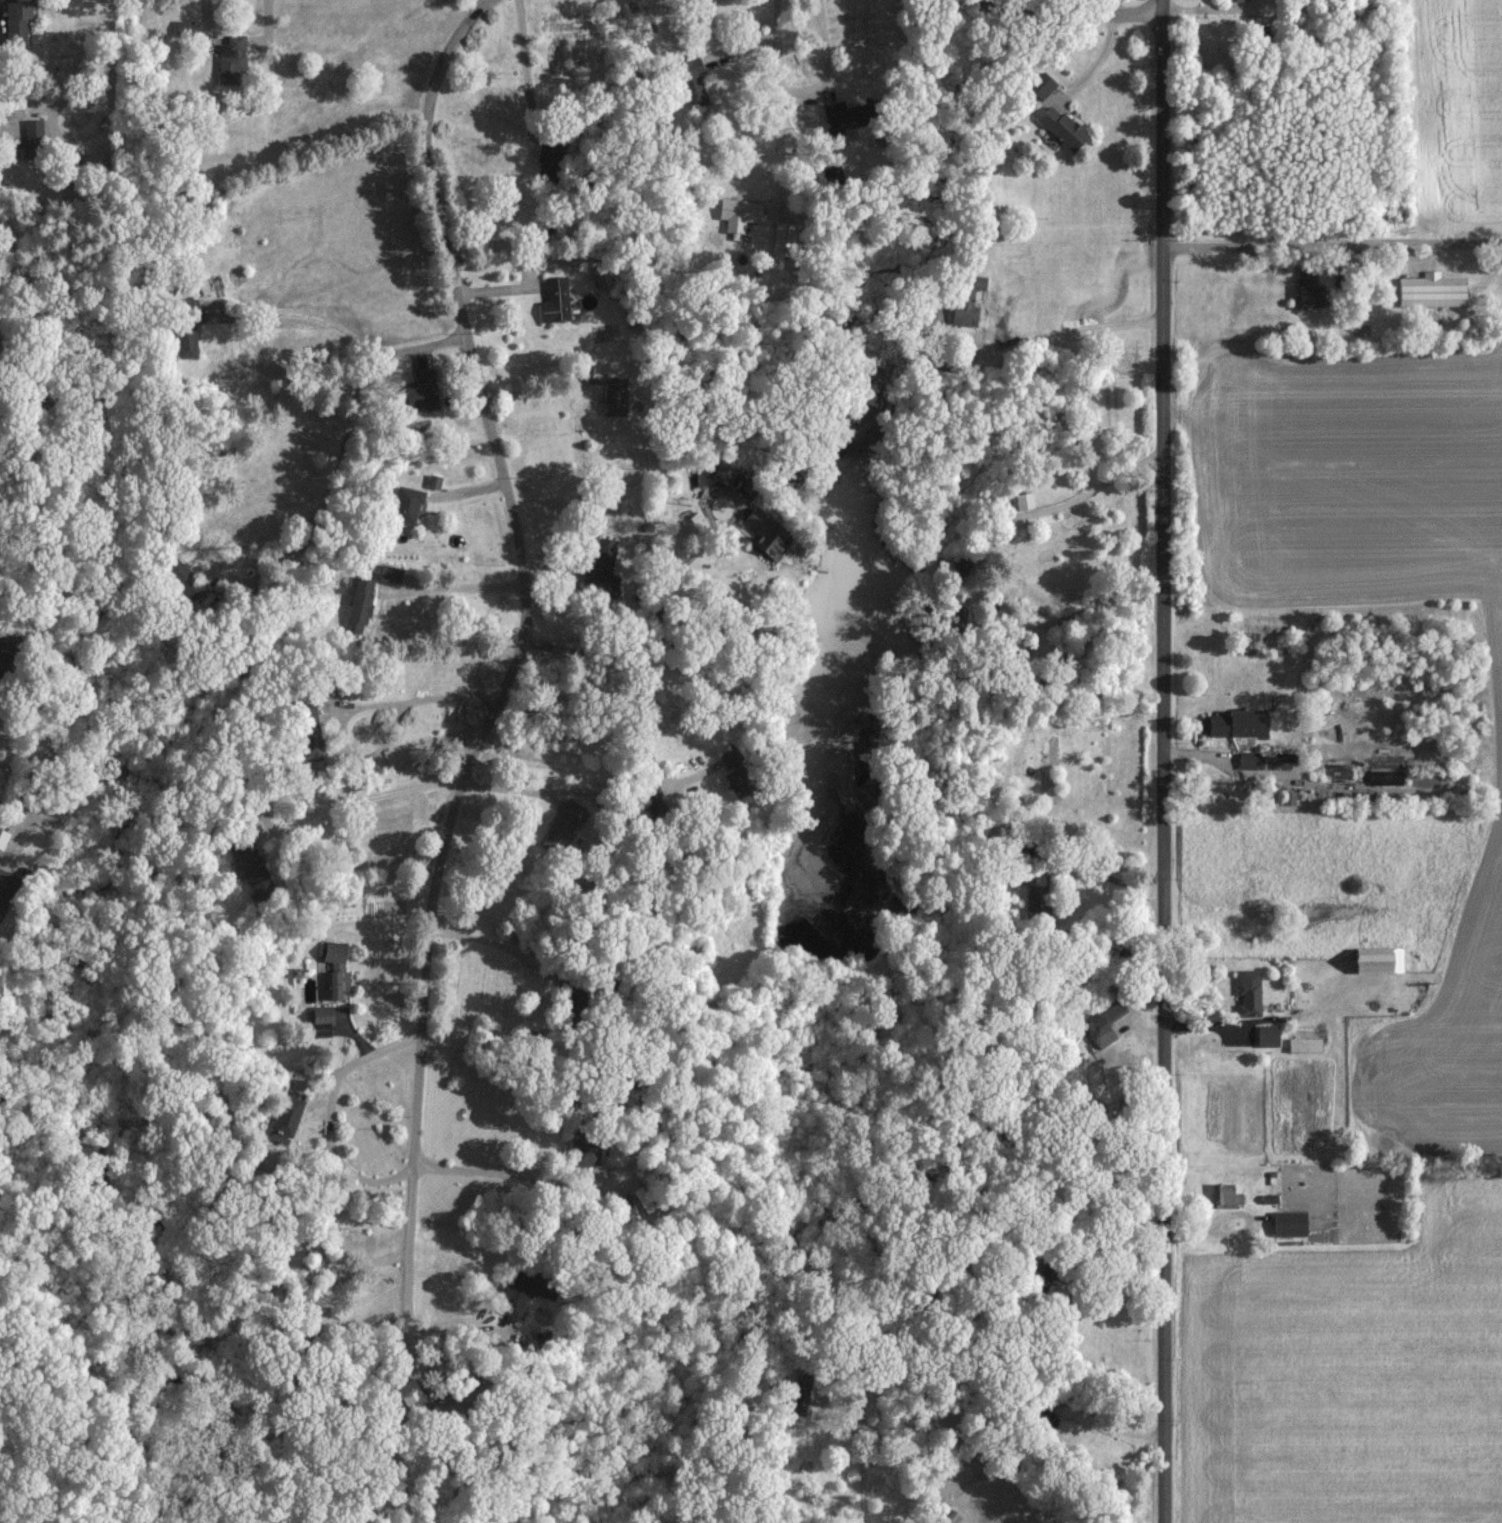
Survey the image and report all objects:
road: (1066, 14)
building: (14, 19)
building: (182, 27)
building: (230, 57)
road: (1099, 60)
building: (689, 79)
building: (1040, 85)
road: (781, 107)
building: (31, 126)
building: (1059, 126)
road: (533, 174)
building: (737, 213)
road: (1334, 245)
building: (1304, 289)
building: (1429, 290)
building: (553, 300)
building: (961, 313)
road: (1089, 324)
building: (185, 327)
road: (340, 327)
building: (419, 391)
building: (613, 396)
building: (720, 474)
building: (433, 481)
building: (1022, 498)
building: (763, 534)
building: (600, 562)
building: (388, 574)
building: (181, 579)
road: (450, 587)
building: (358, 605)
road: (1005, 609)
road: (523, 610)
building: (1235, 723)
building: (308, 727)
building: (728, 756)
road: (1166, 761)
building: (562, 824)
building: (2, 838)
building: (245, 858)
building: (6, 886)
road: (487, 941)
building: (1376, 958)
building: (335, 968)
building: (1248, 991)
building: (320, 1018)
building: (1103, 1024)
building: (1266, 1034)
building: (287, 1114)
road: (331, 1114)
building: (583, 1150)
road: (518, 1174)
building: (623, 1206)
building: (1287, 1222)
building: (517, 1293)
road: (413, 1308)
building: (410, 1393)

